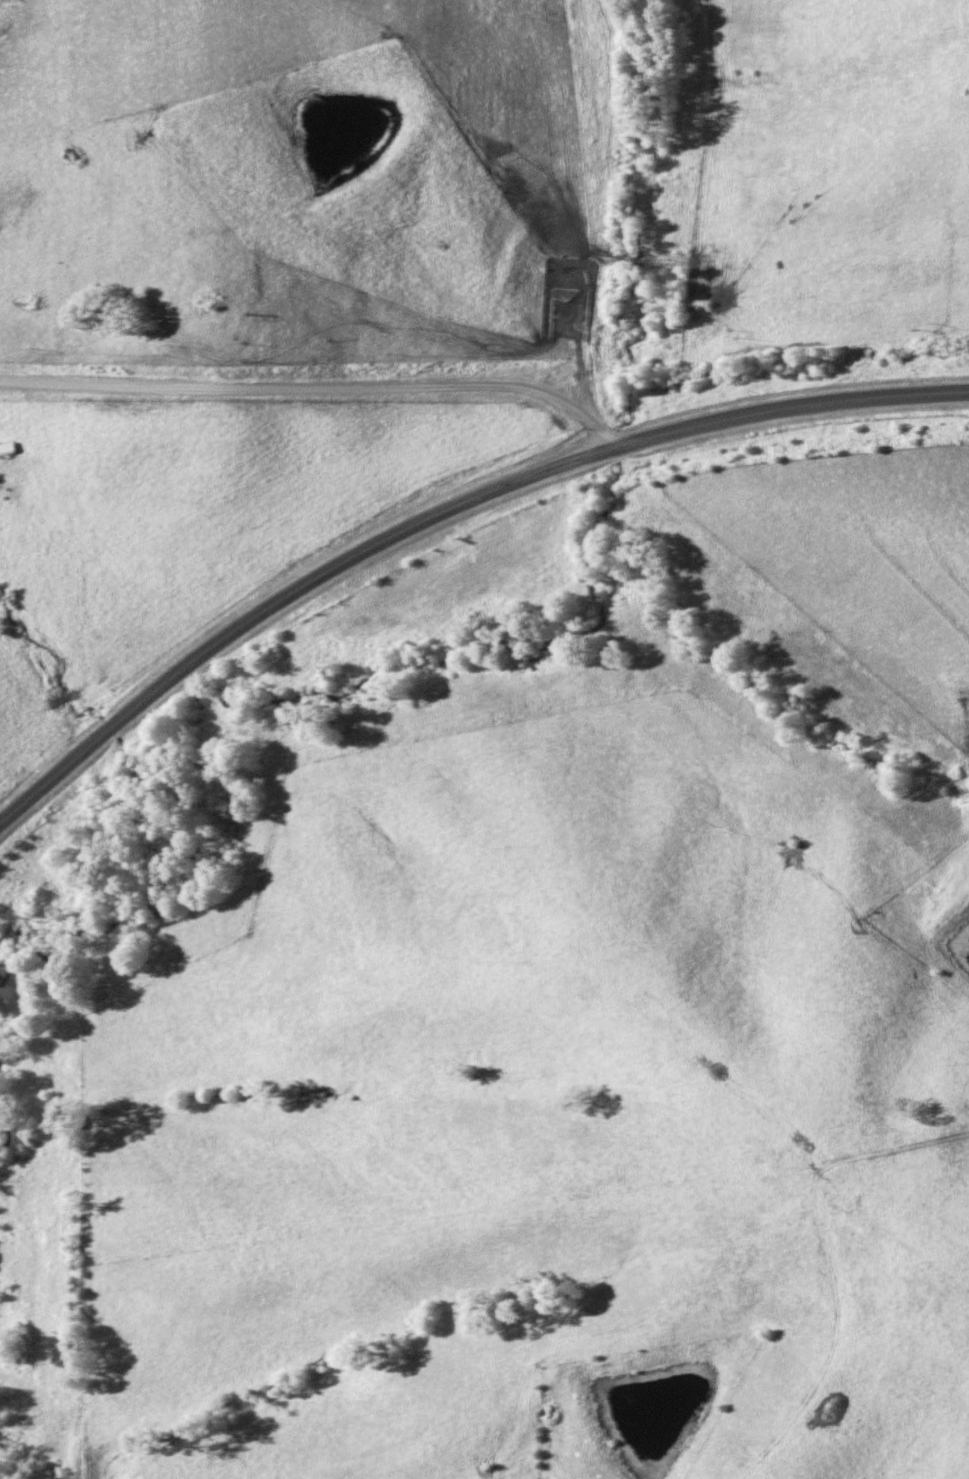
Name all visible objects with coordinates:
road: (319, 386)
road: (440, 510)

